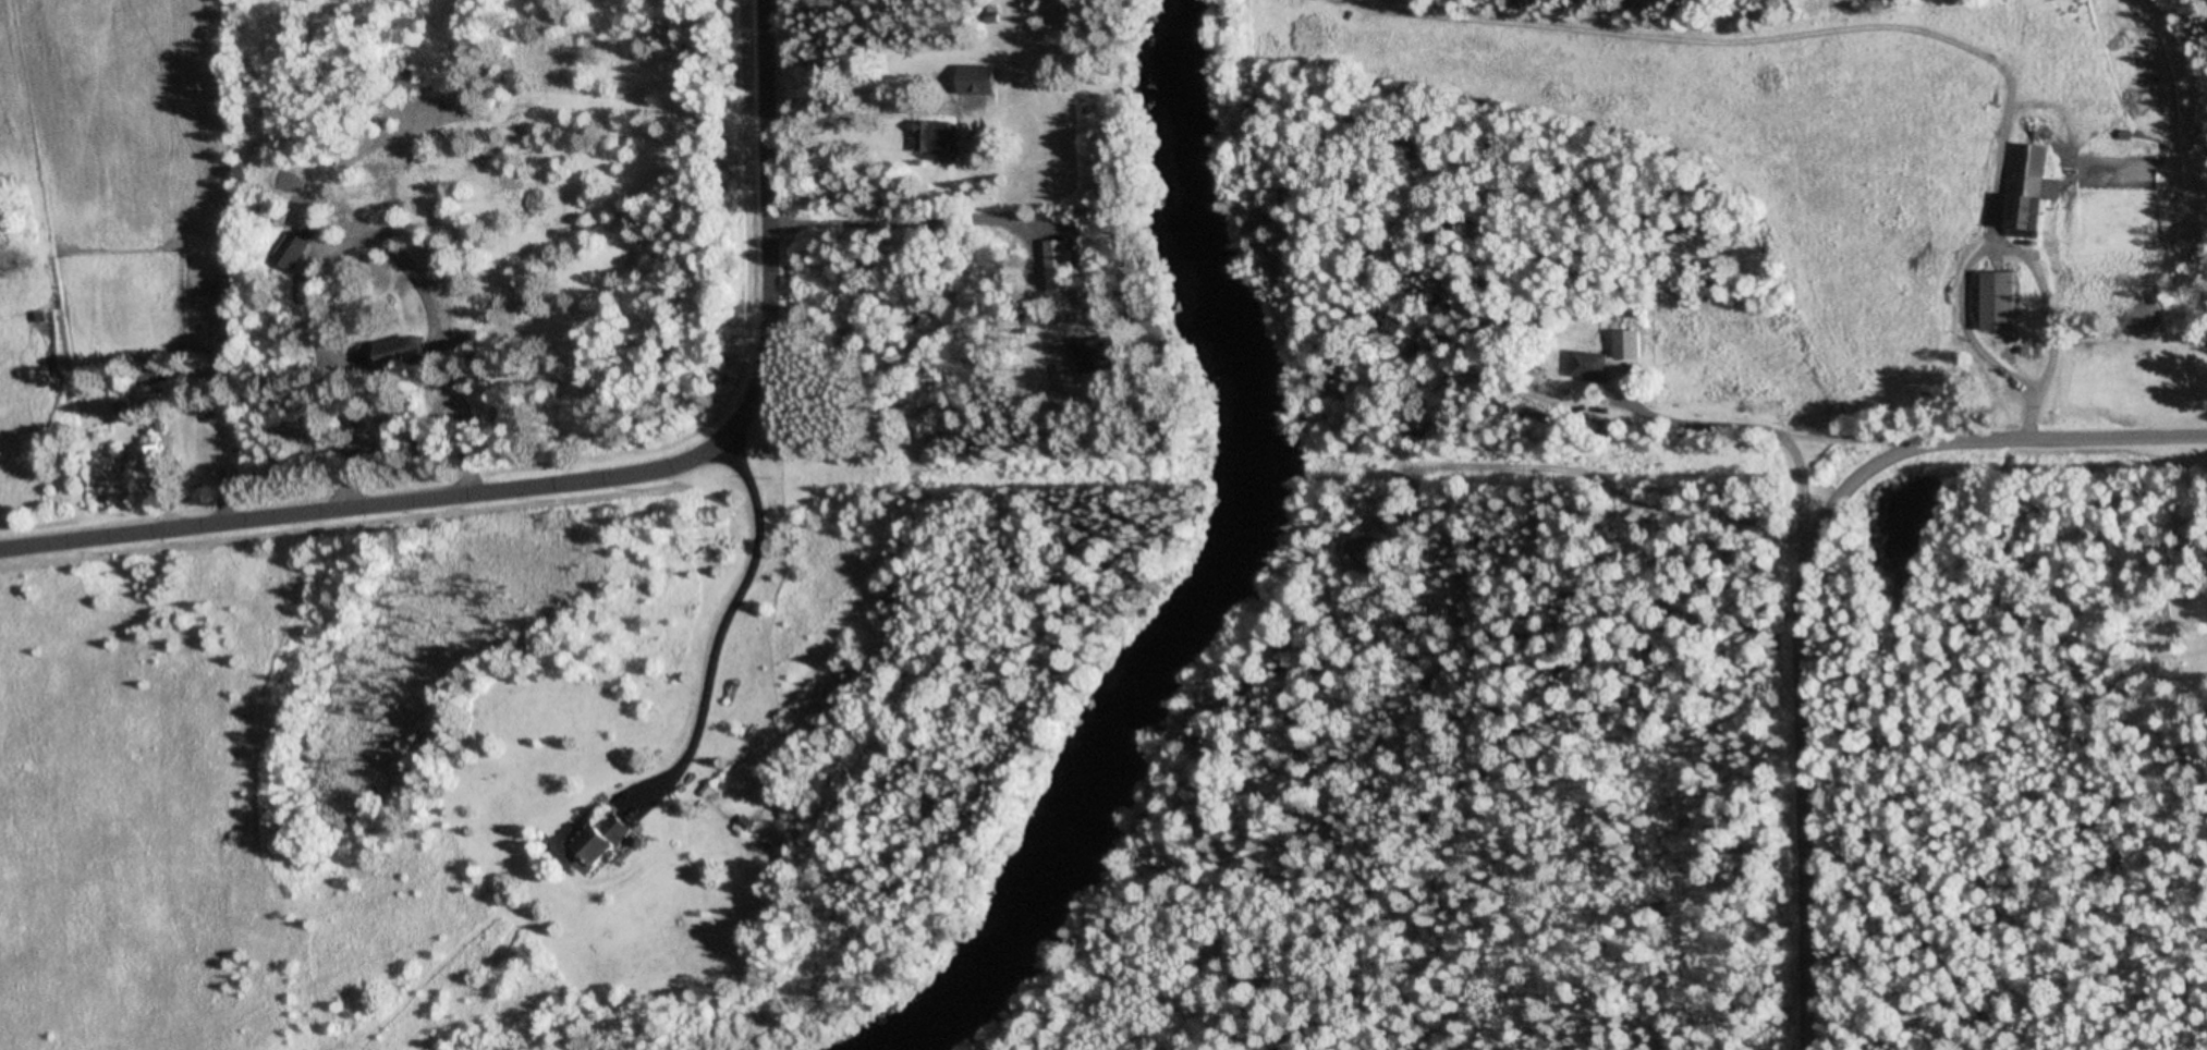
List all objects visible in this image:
building: (983, 81)
building: (939, 137)
building: (2118, 155)
building: (2035, 203)
building: (295, 251)
building: (1059, 276)
building: (2004, 300)
building: (406, 352)
building: (1593, 365)
building: (147, 457)
road: (593, 480)
building: (1363, 546)
river: (1216, 562)
road: (1805, 581)
building: (603, 840)

